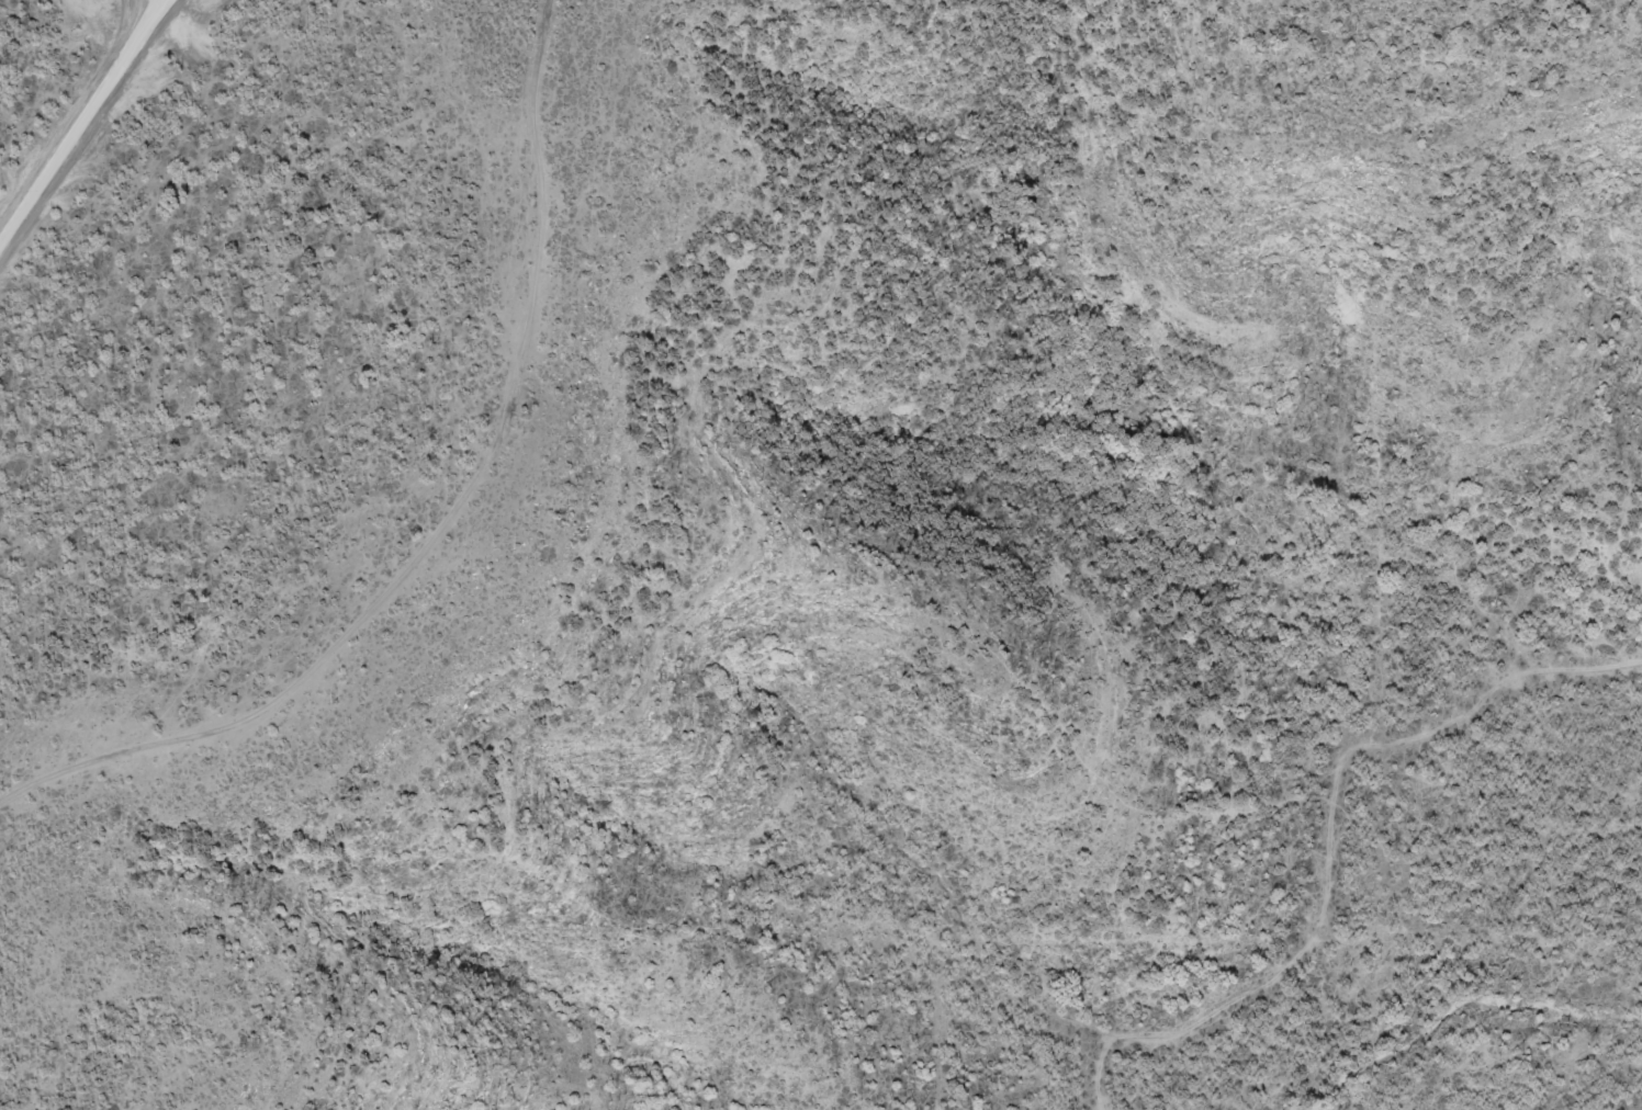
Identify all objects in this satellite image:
road: (435, 532)

